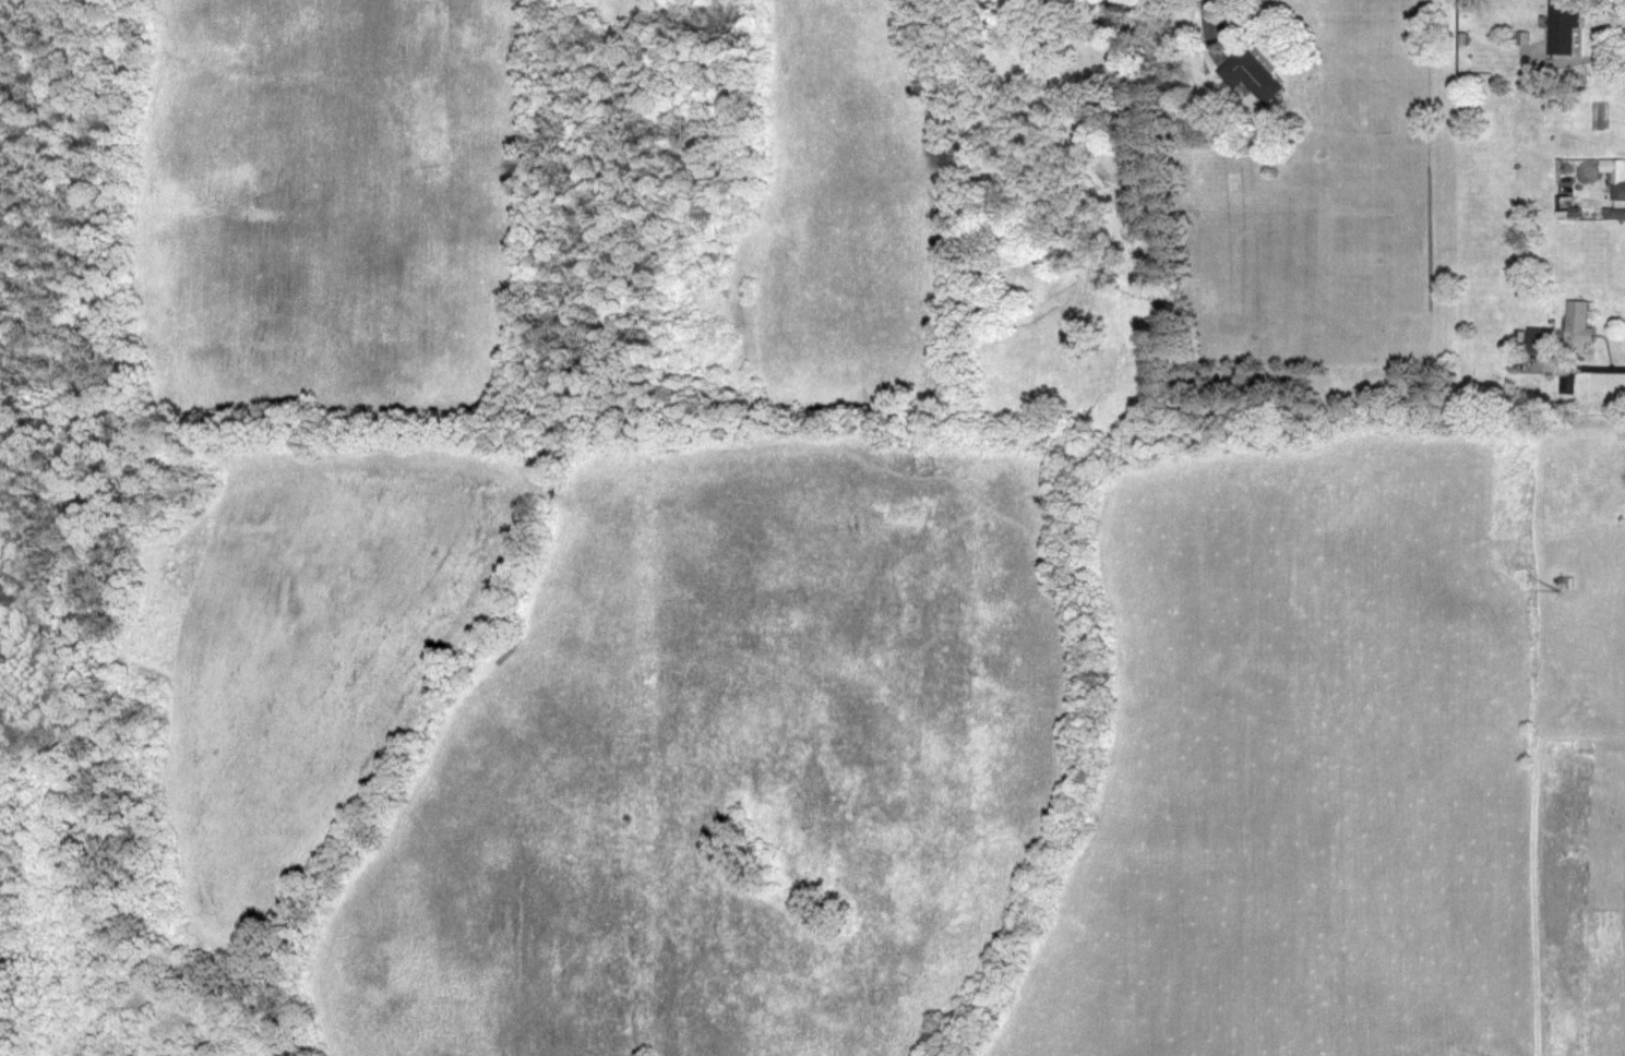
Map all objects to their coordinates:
road: (1158, 9)
building: (1566, 28)
building: (1254, 77)
building: (1616, 178)
building: (1581, 327)
building: (1542, 341)

